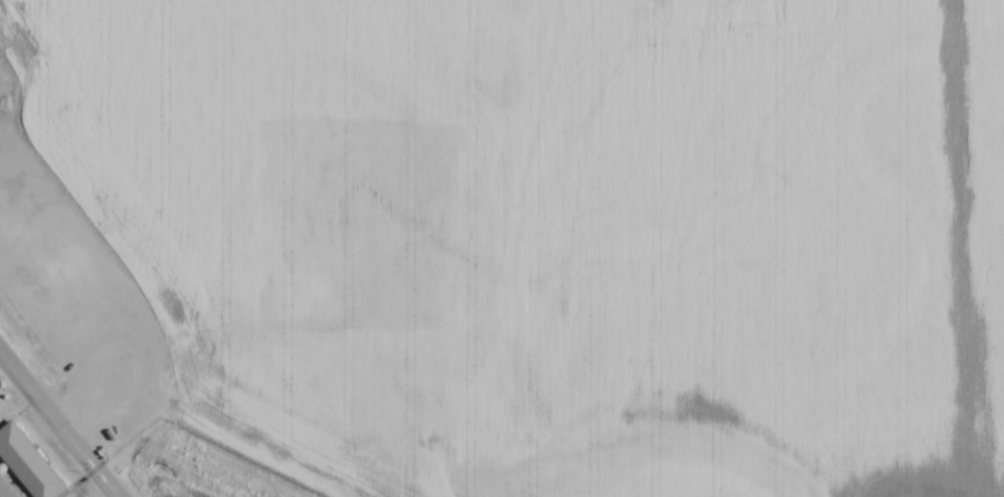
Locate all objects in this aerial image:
road: (58, 425)
building: (29, 463)

